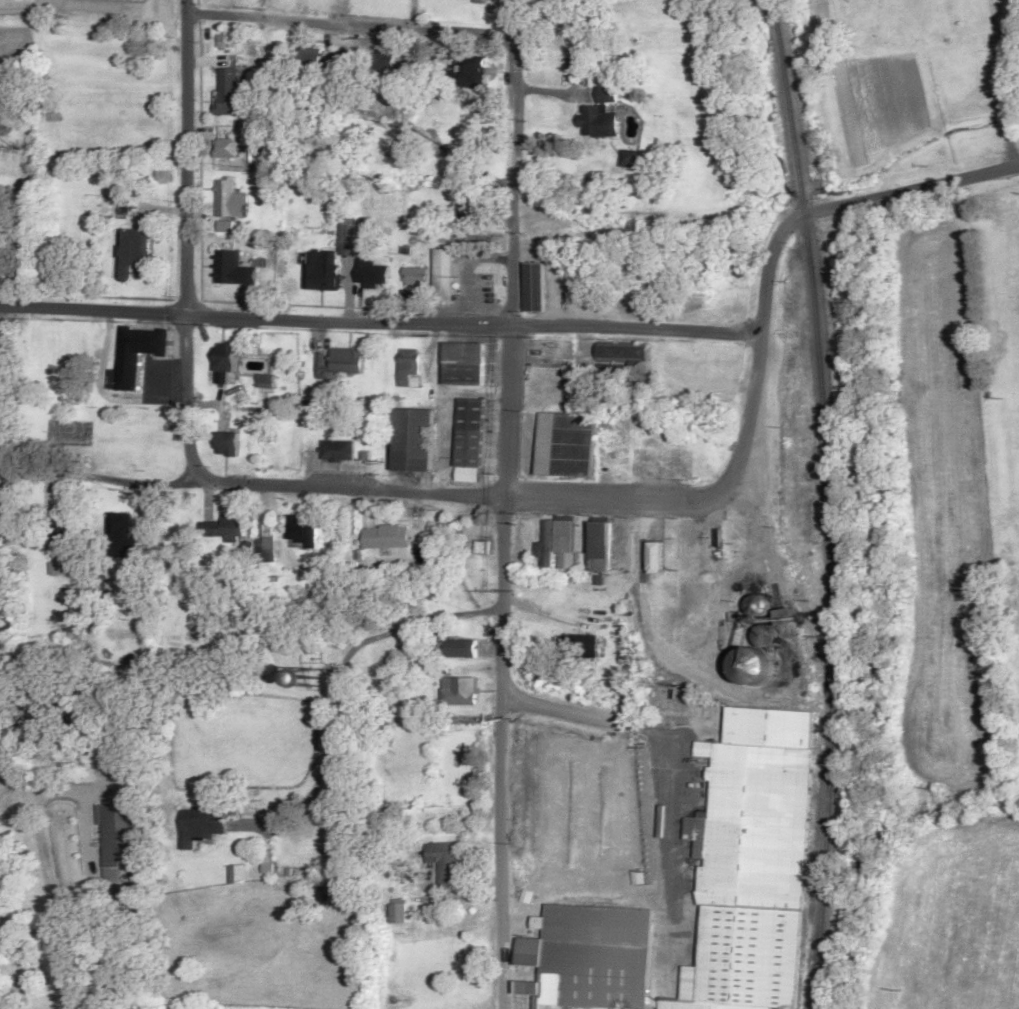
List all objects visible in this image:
road: (348, 24)
building: (310, 59)
building: (385, 62)
building: (467, 73)
building: (228, 92)
building: (600, 106)
building: (226, 148)
building: (229, 200)
road: (847, 204)
building: (467, 211)
road: (183, 241)
building: (135, 246)
building: (0, 251)
building: (329, 262)
building: (232, 270)
building: (370, 274)
building: (443, 275)
building: (415, 277)
building: (533, 288)
building: (640, 294)
road: (380, 320)
building: (1, 349)
building: (136, 355)
building: (225, 359)
building: (338, 363)
building: (463, 364)
building: (407, 367)
building: (264, 381)
building: (470, 433)
building: (412, 441)
building: (224, 443)
building: (566, 445)
building: (336, 451)
road: (442, 492)
railway: (827, 502)
road: (505, 521)
building: (3, 525)
building: (59, 528)
building: (120, 536)
building: (302, 536)
building: (385, 536)
building: (565, 536)
building: (548, 543)
building: (602, 545)
building: (656, 556)
road: (388, 600)
building: (757, 606)
building: (459, 648)
building: (751, 665)
building: (458, 691)
road: (596, 706)
building: (199, 824)
building: (117, 841)
building: (752, 861)
building: (443, 863)
building: (236, 874)
building: (397, 911)
building: (590, 957)

